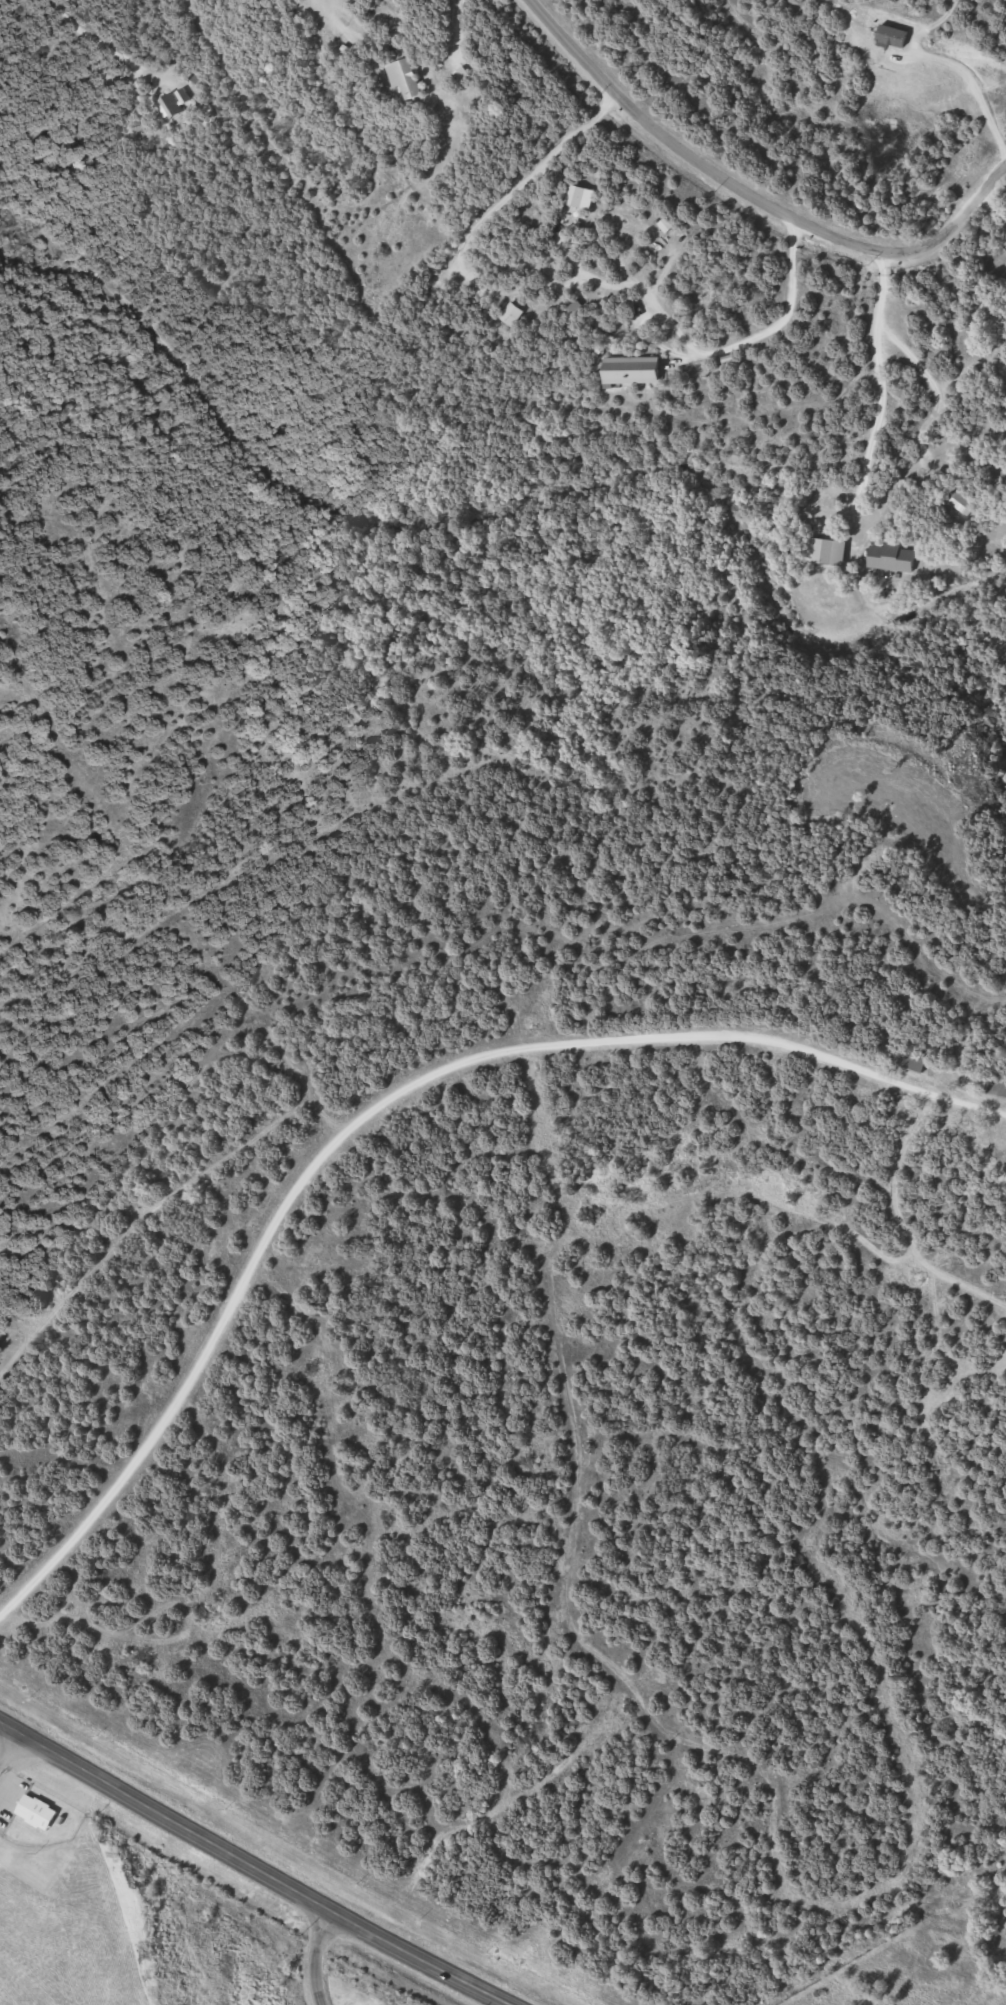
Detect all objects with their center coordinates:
road: (948, 24)
road: (91, 36)
road: (669, 65)
road: (583, 68)
building: (464, 75)
building: (408, 78)
building: (177, 104)
building: (580, 196)
road: (444, 220)
road: (834, 241)
building: (516, 315)
road: (724, 350)
building: (639, 371)
building: (964, 502)
building: (832, 552)
building: (895, 558)
building: (912, 1061)
building: (998, 1089)
road: (381, 1102)
road: (10, 1742)
building: (40, 1812)
road: (255, 1865)
road: (316, 1955)

